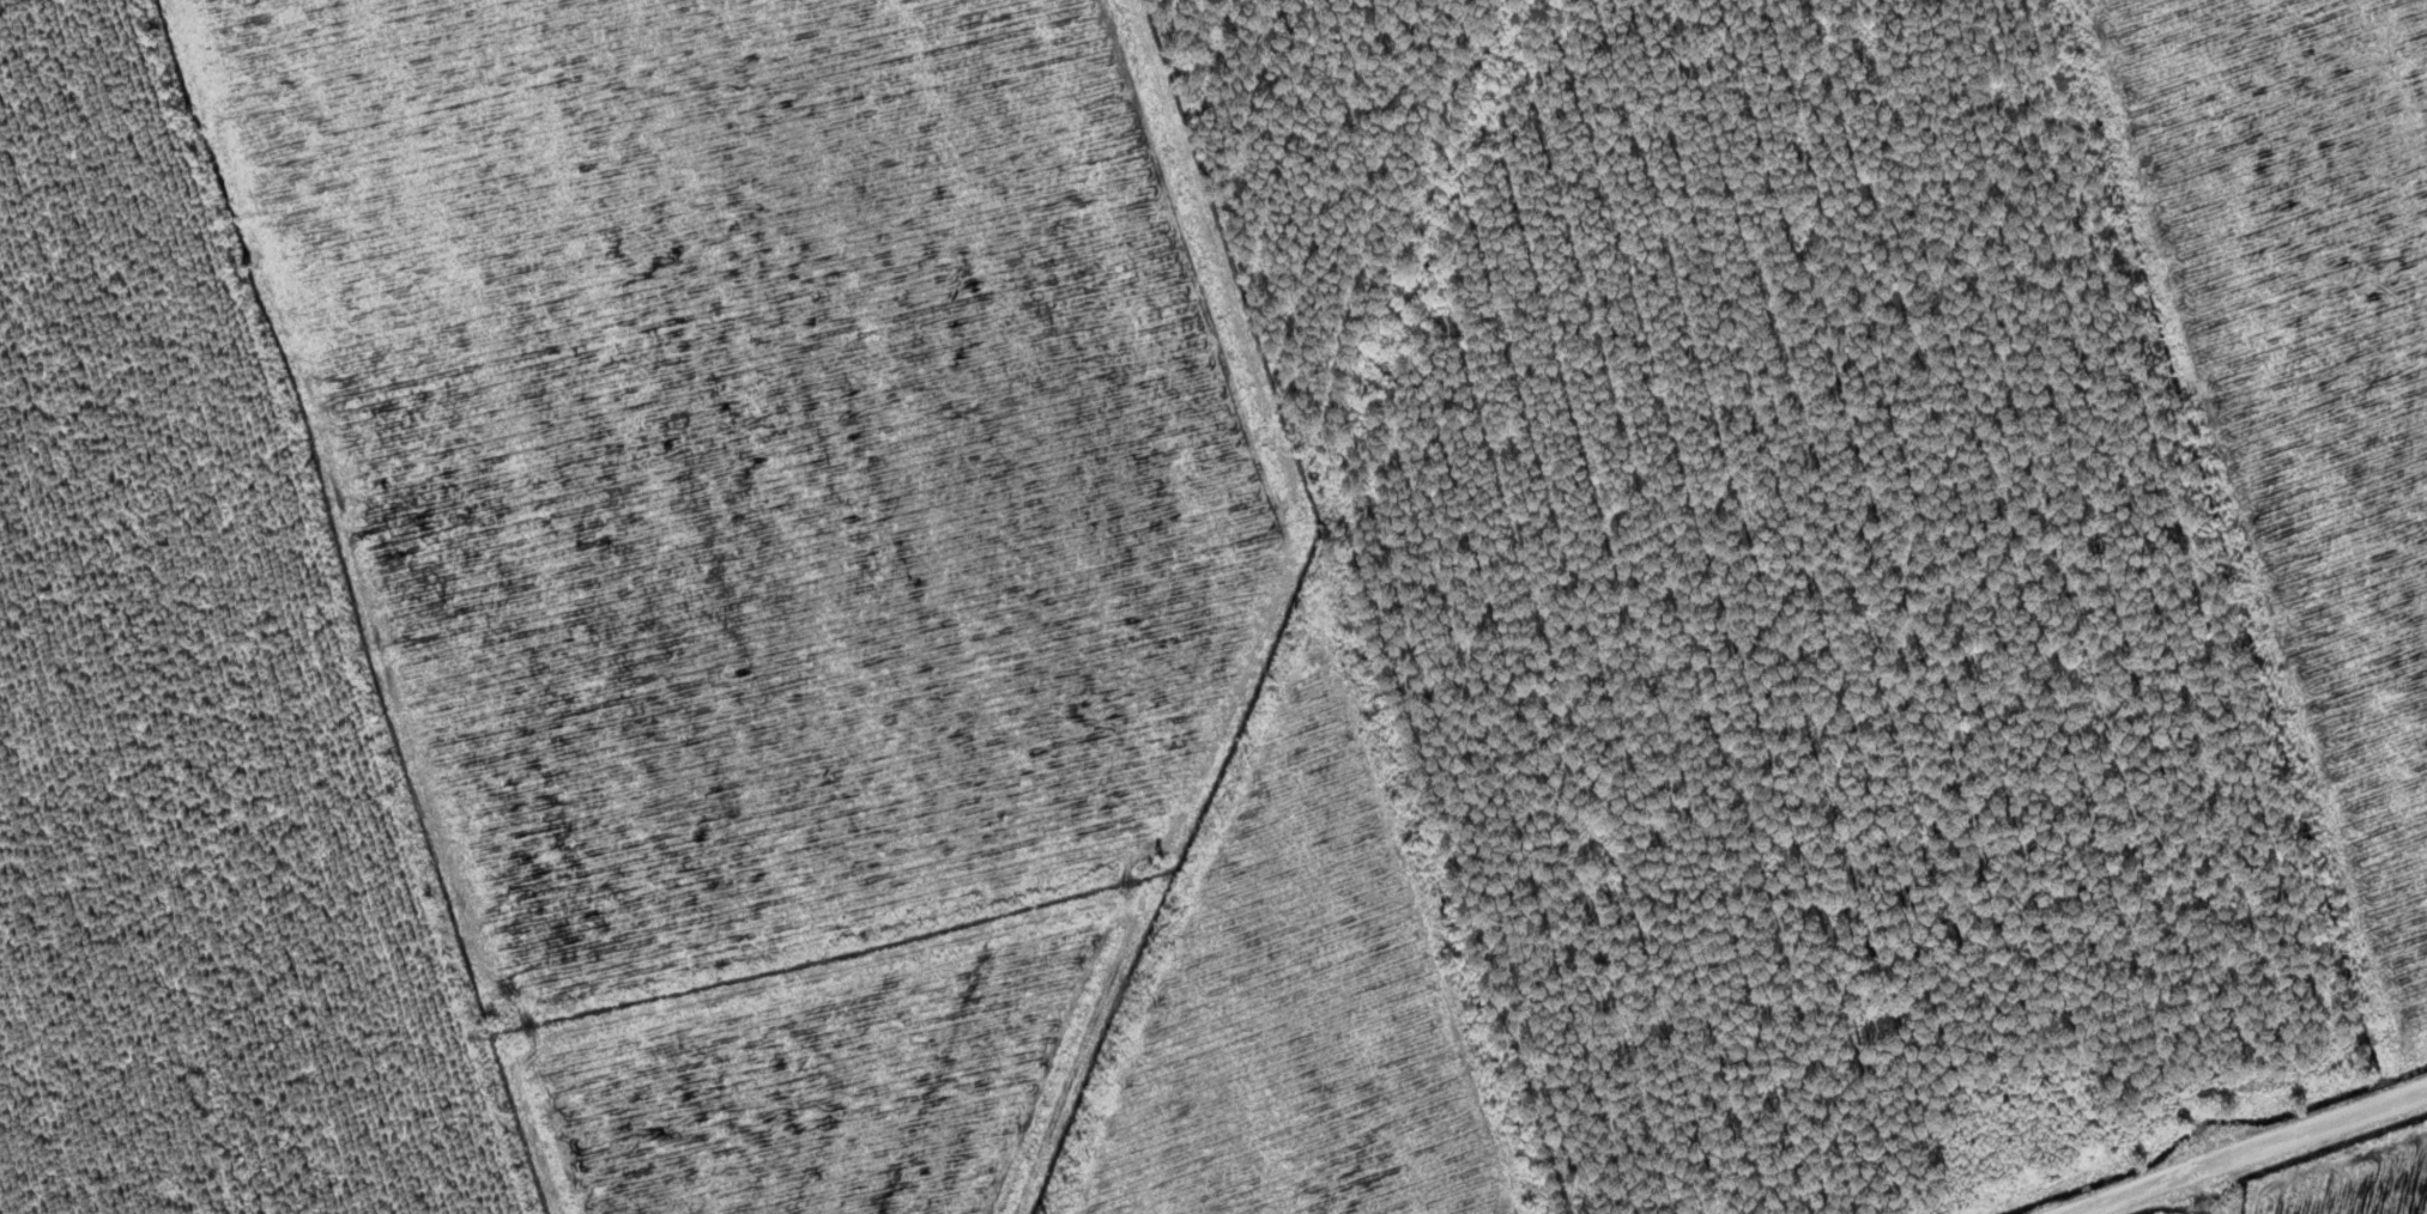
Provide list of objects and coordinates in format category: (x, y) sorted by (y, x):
road: (2254, 1149)

